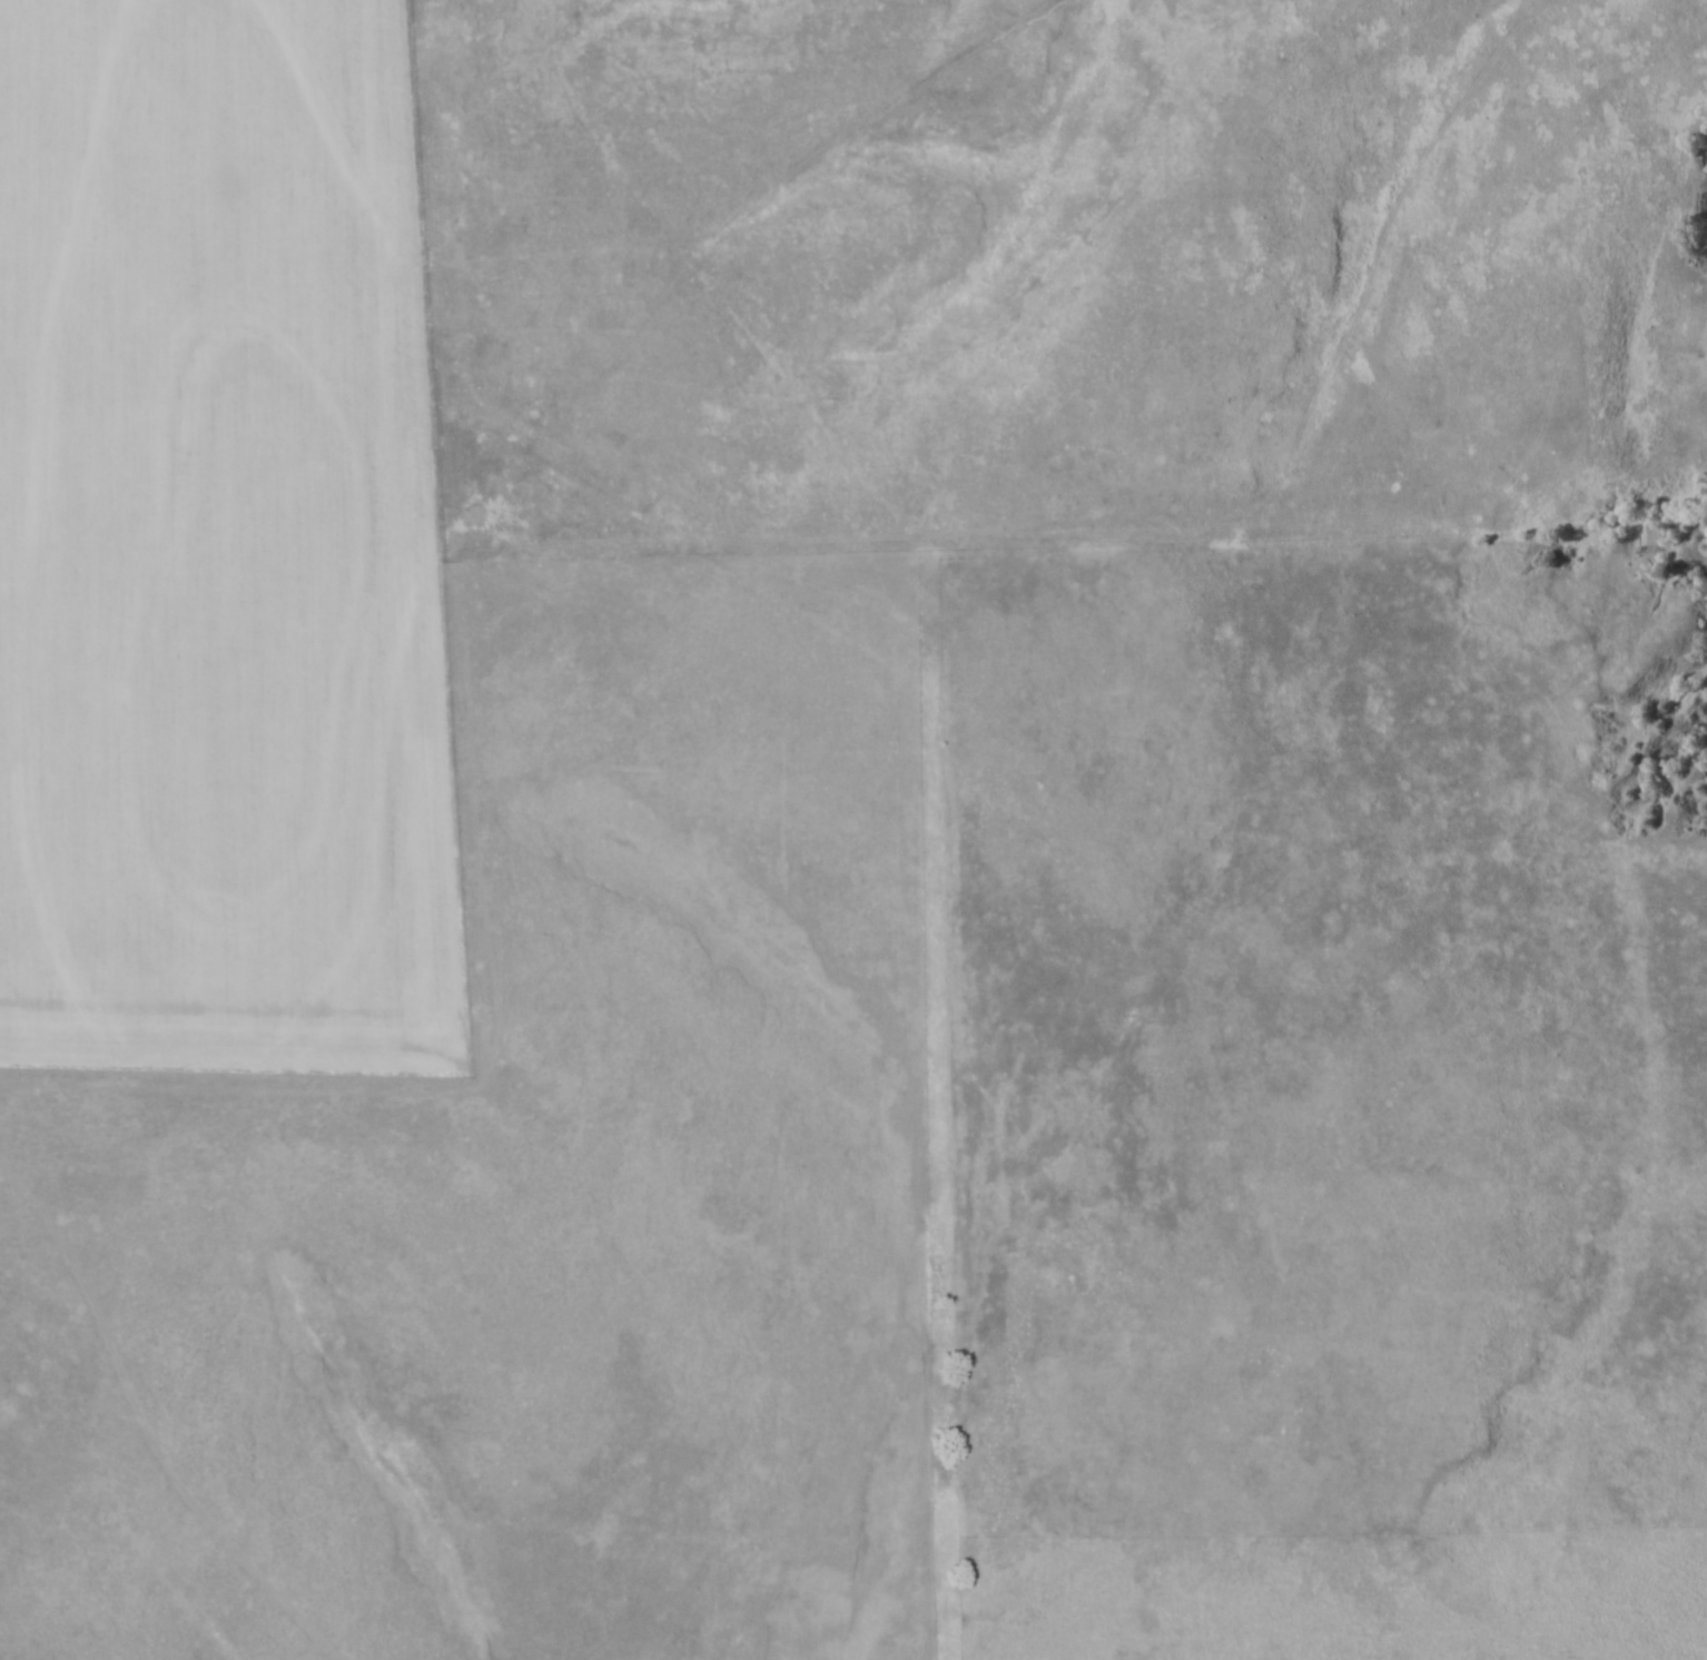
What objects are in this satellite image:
crop: (223, 552)

